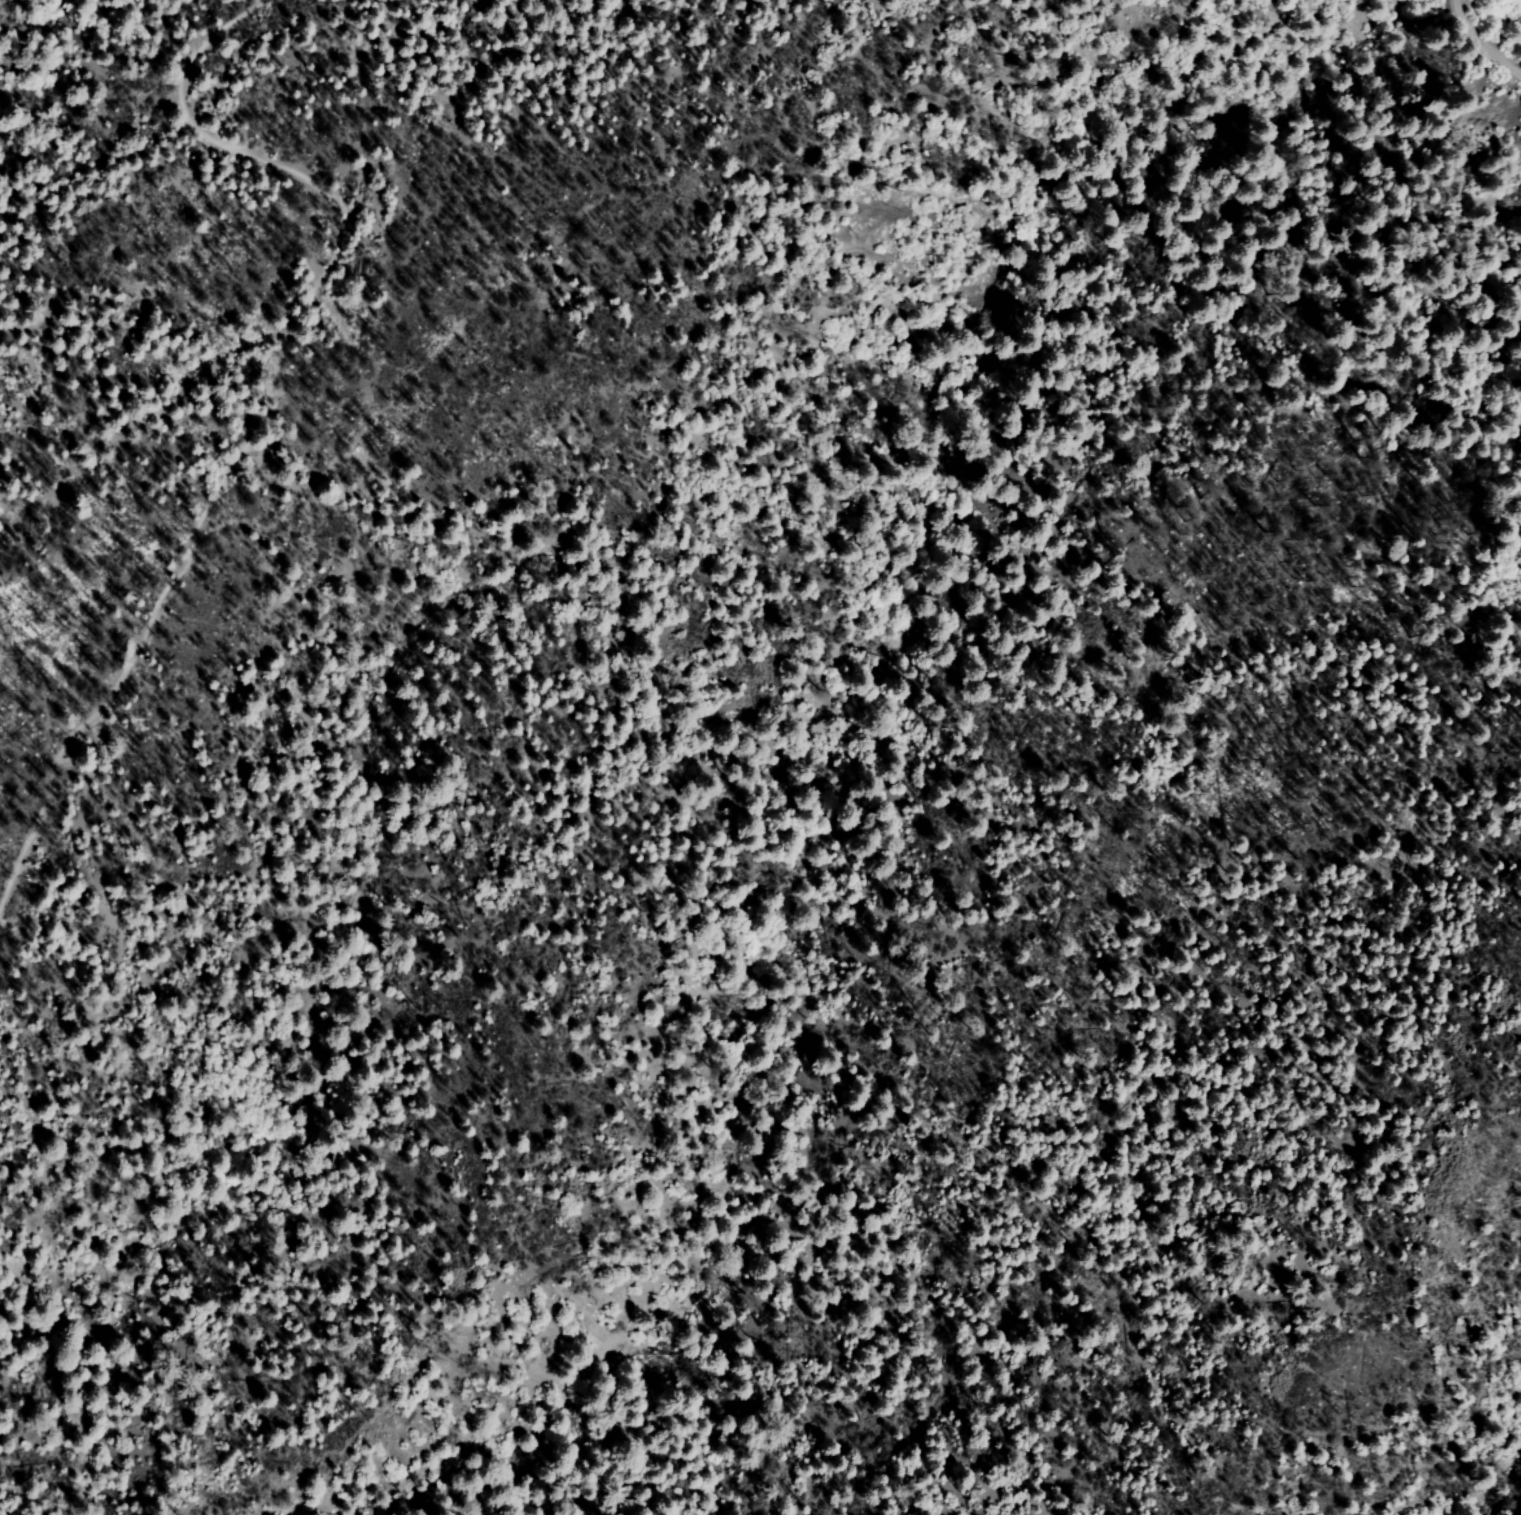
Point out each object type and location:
road: (1482, 41)

